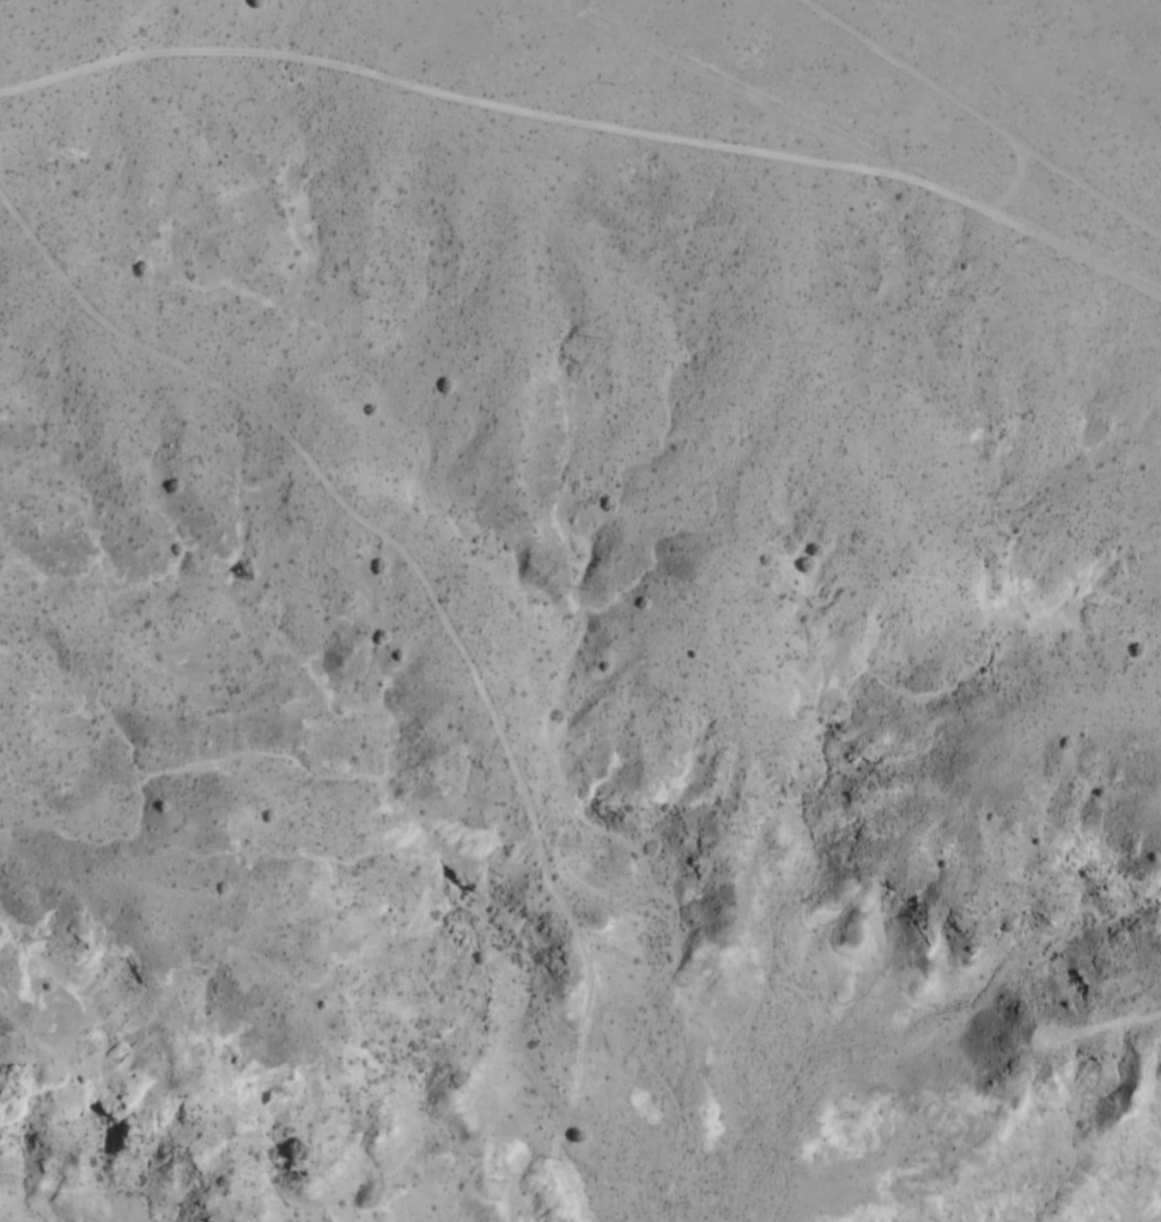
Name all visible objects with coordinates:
road: (975, 129)

